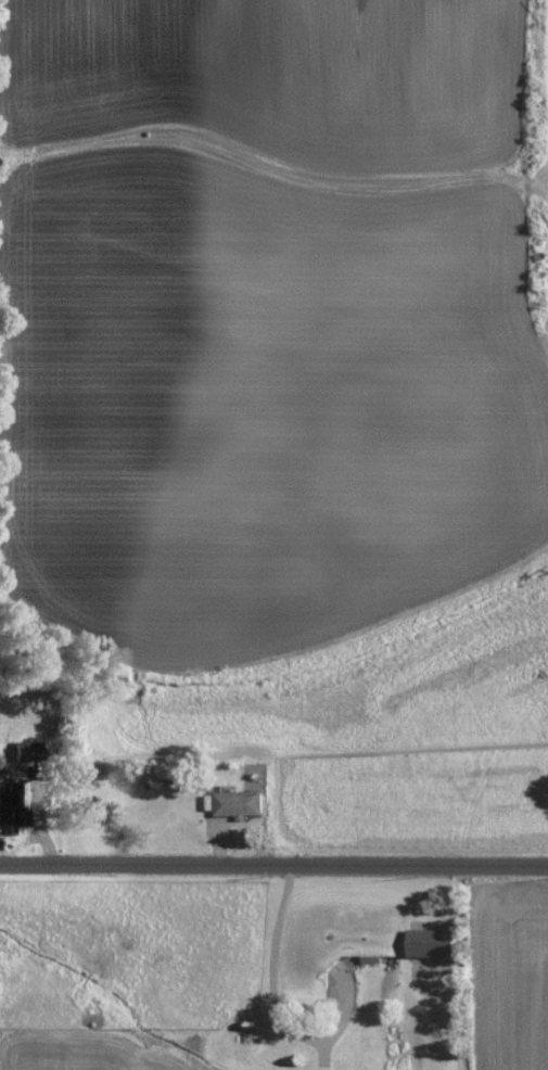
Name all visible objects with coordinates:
building: (29, 750)
building: (241, 802)
road: (273, 864)
road: (460, 923)
airport hangar: (432, 945)
building: (432, 945)
parking lot: (434, 973)
road: (275, 998)
airport: (437, 999)
airport taxiway: (432, 1031)

